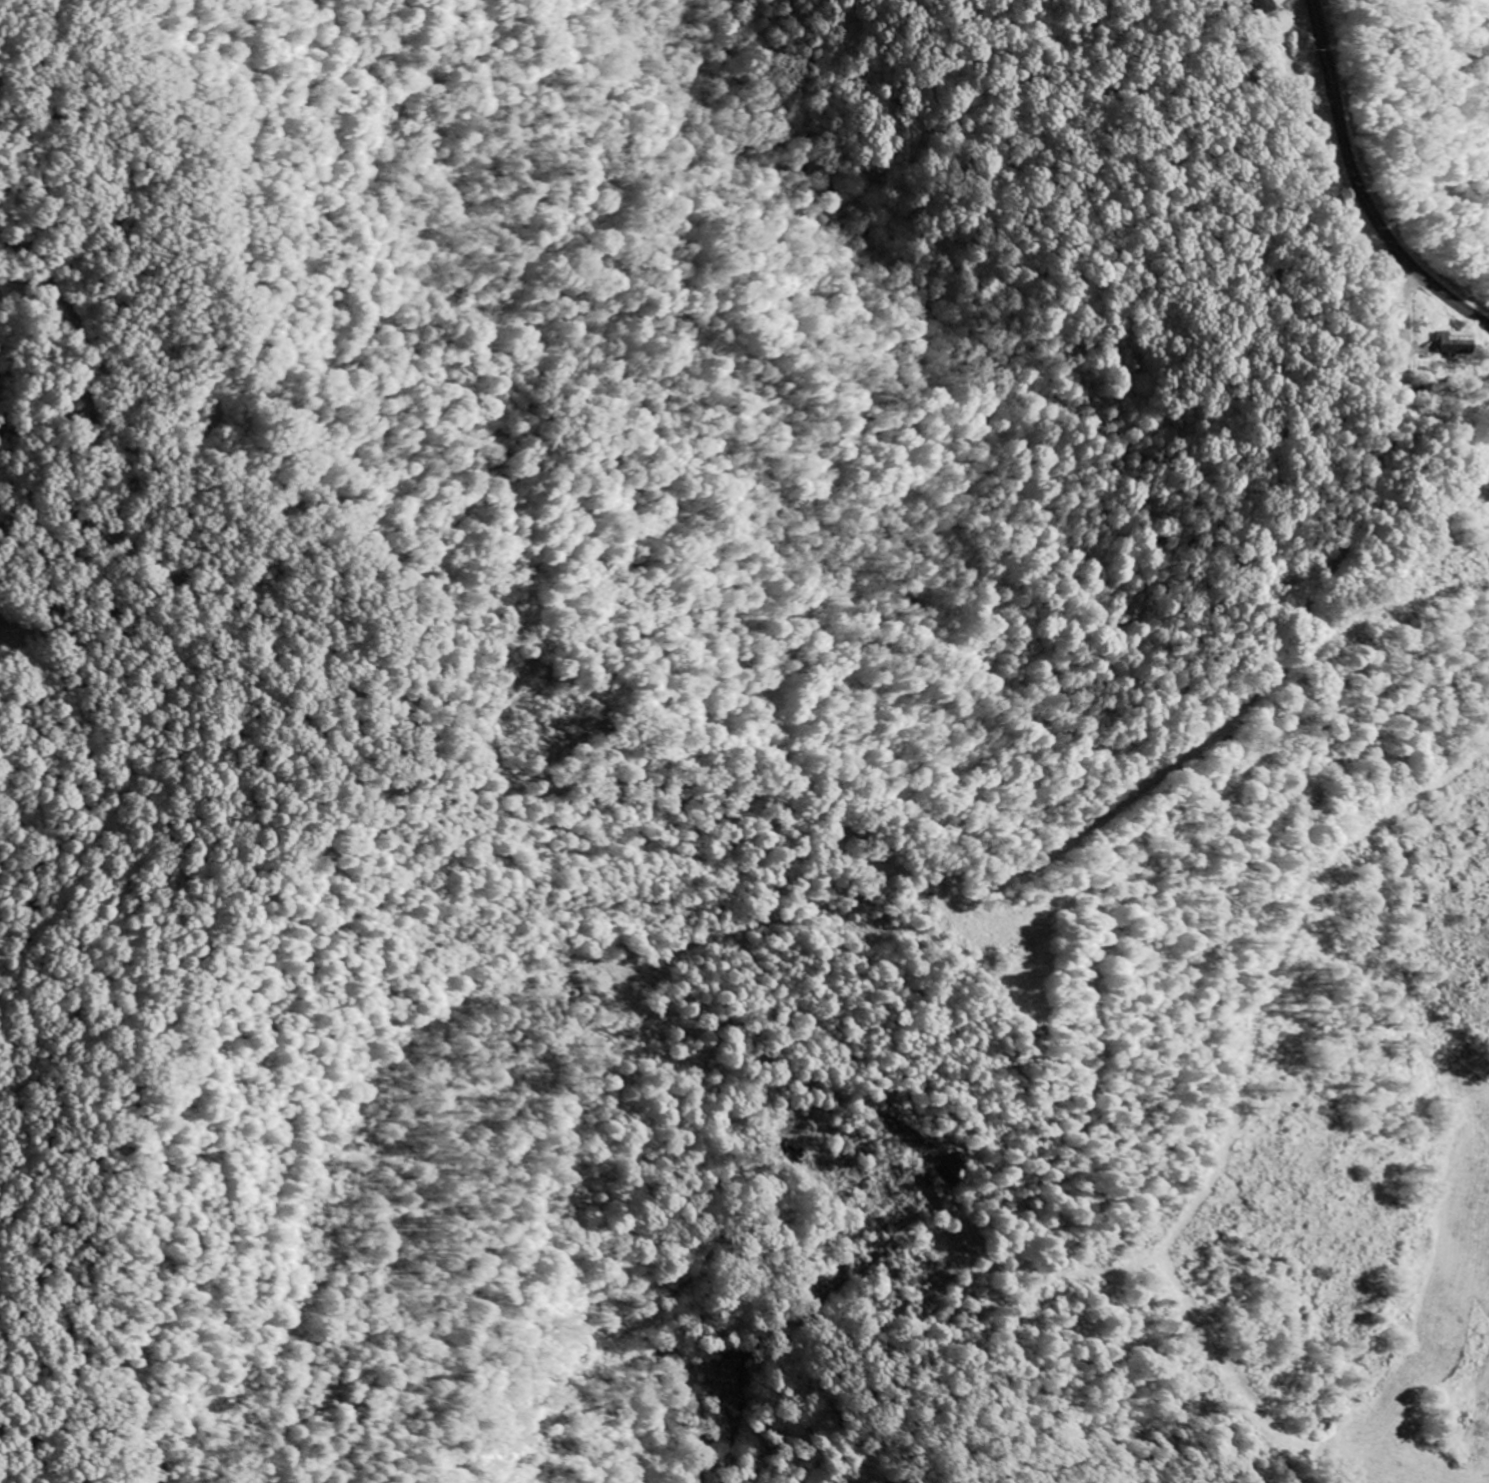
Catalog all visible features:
building: (1257, 7)
road: (1361, 187)
building: (1452, 343)
road: (196, 458)
road: (762, 797)

